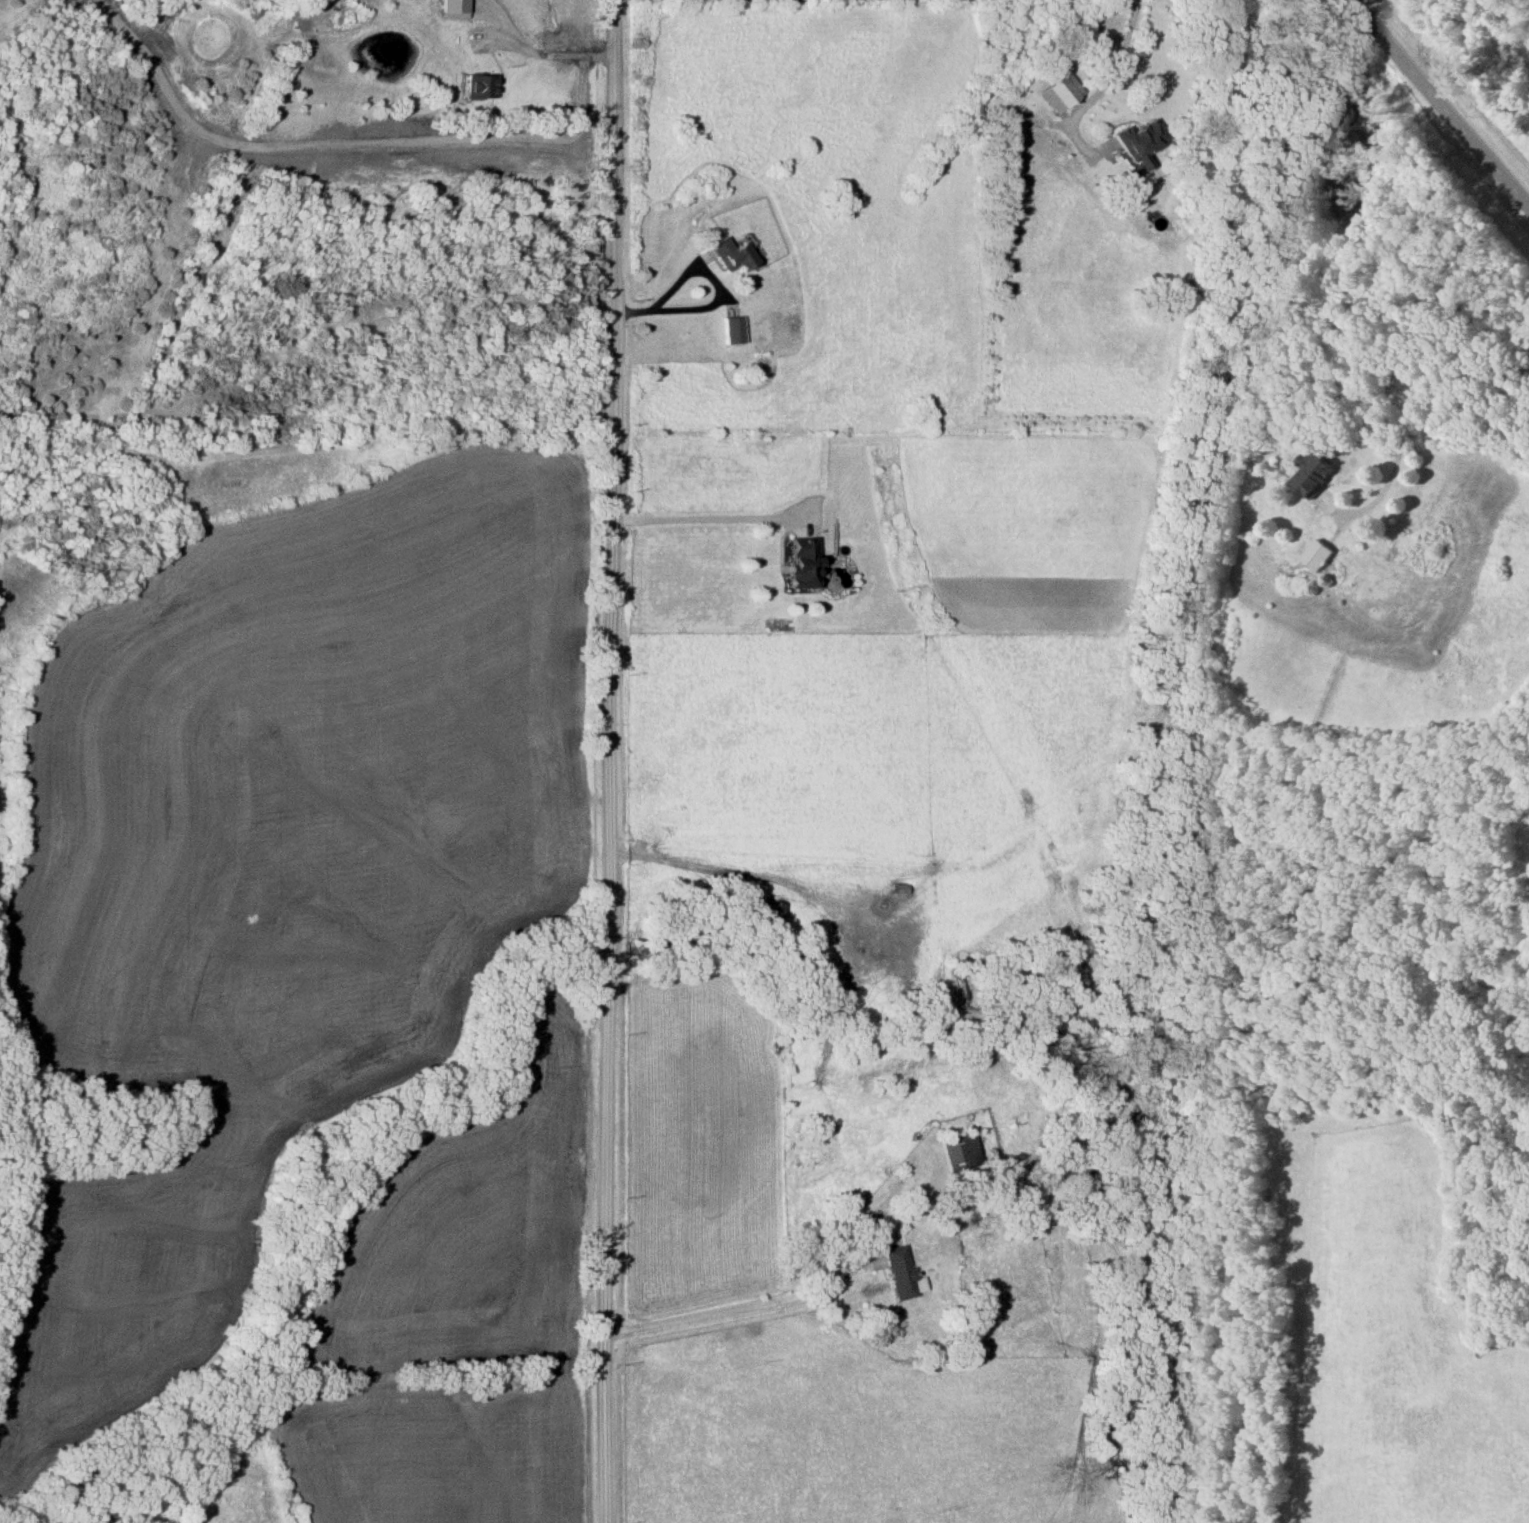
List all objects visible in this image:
road: (557, 51)
road: (1108, 72)
building: (479, 86)
road: (1444, 100)
building: (1134, 140)
building: (727, 254)
road: (702, 269)
building: (729, 330)
road: (1403, 411)
building: (1312, 473)
road: (694, 515)
building: (1314, 556)
building: (799, 563)
road: (613, 761)
building: (773, 913)
building: (805, 950)
building: (957, 1151)
building: (899, 1273)
road: (740, 1310)
building: (73, 1485)

